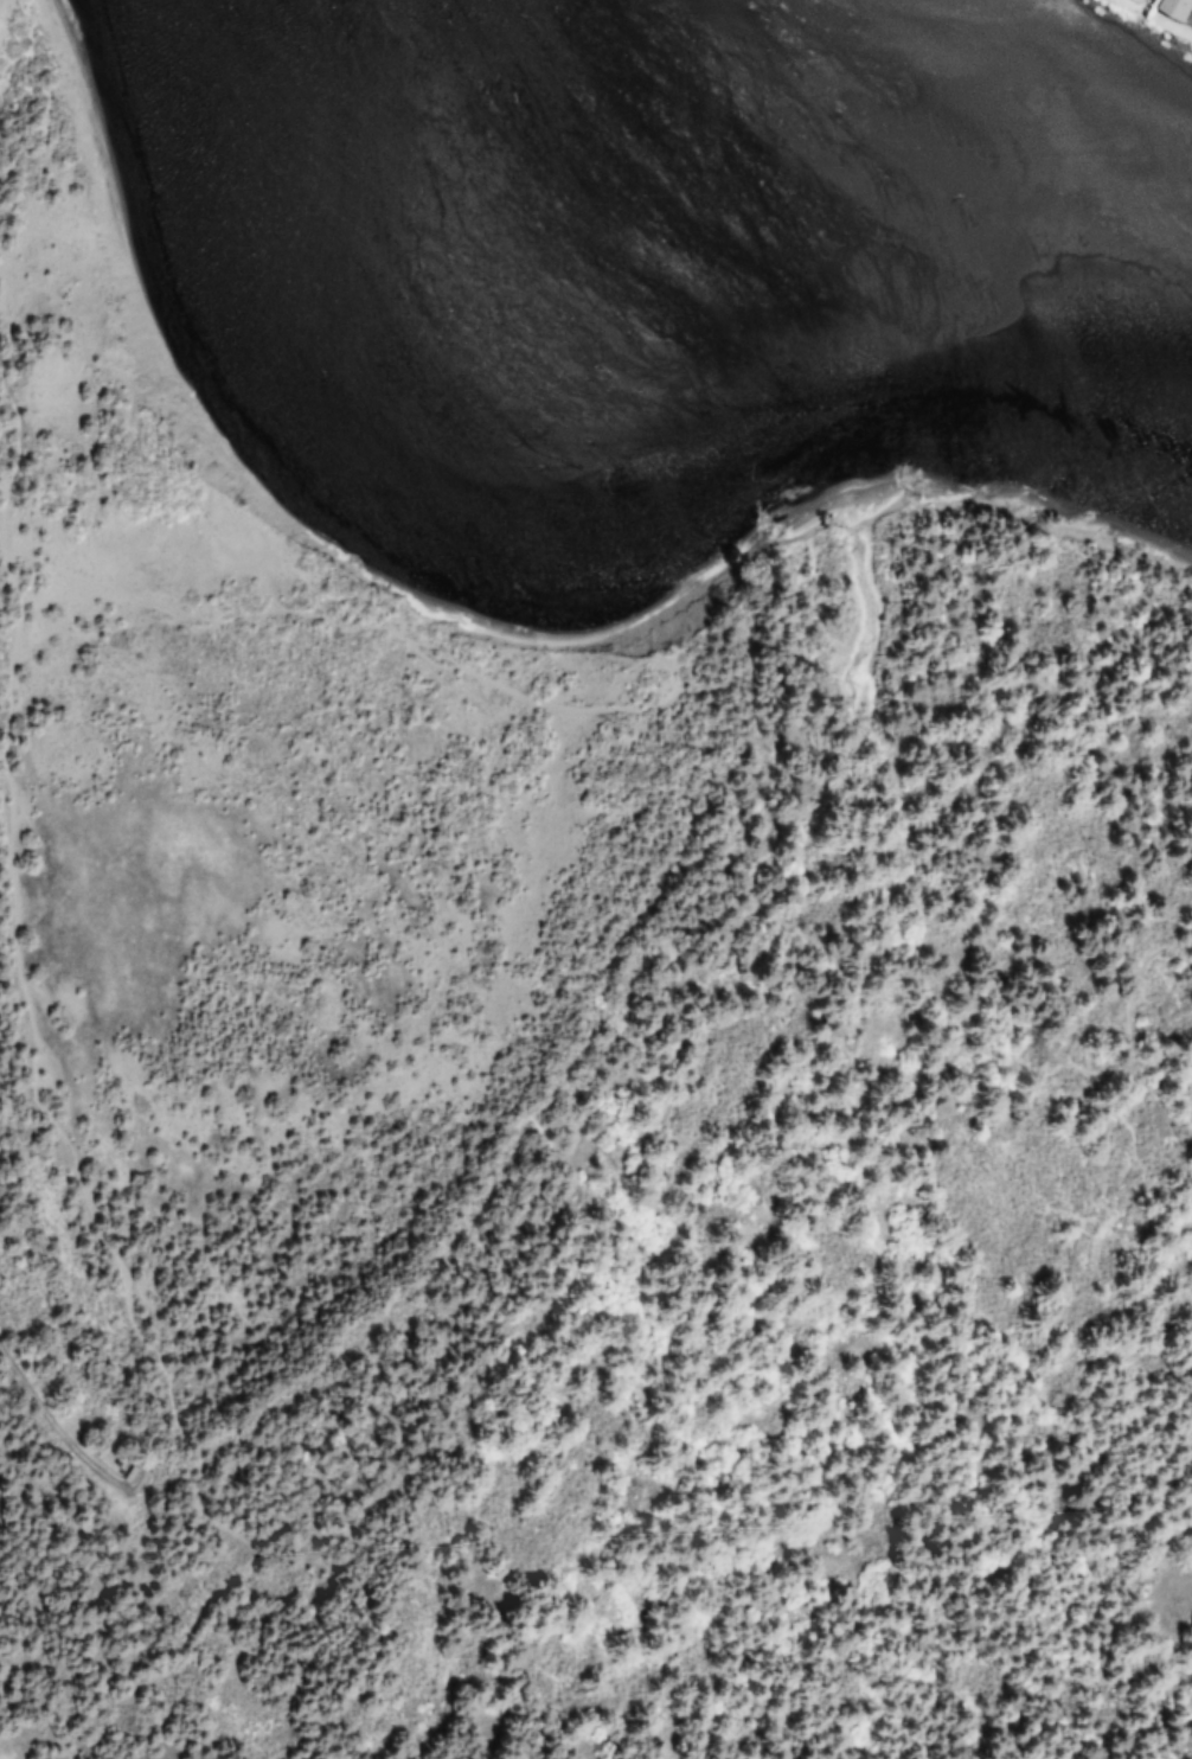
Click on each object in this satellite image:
building: (1172, 7)
river: (880, 172)

